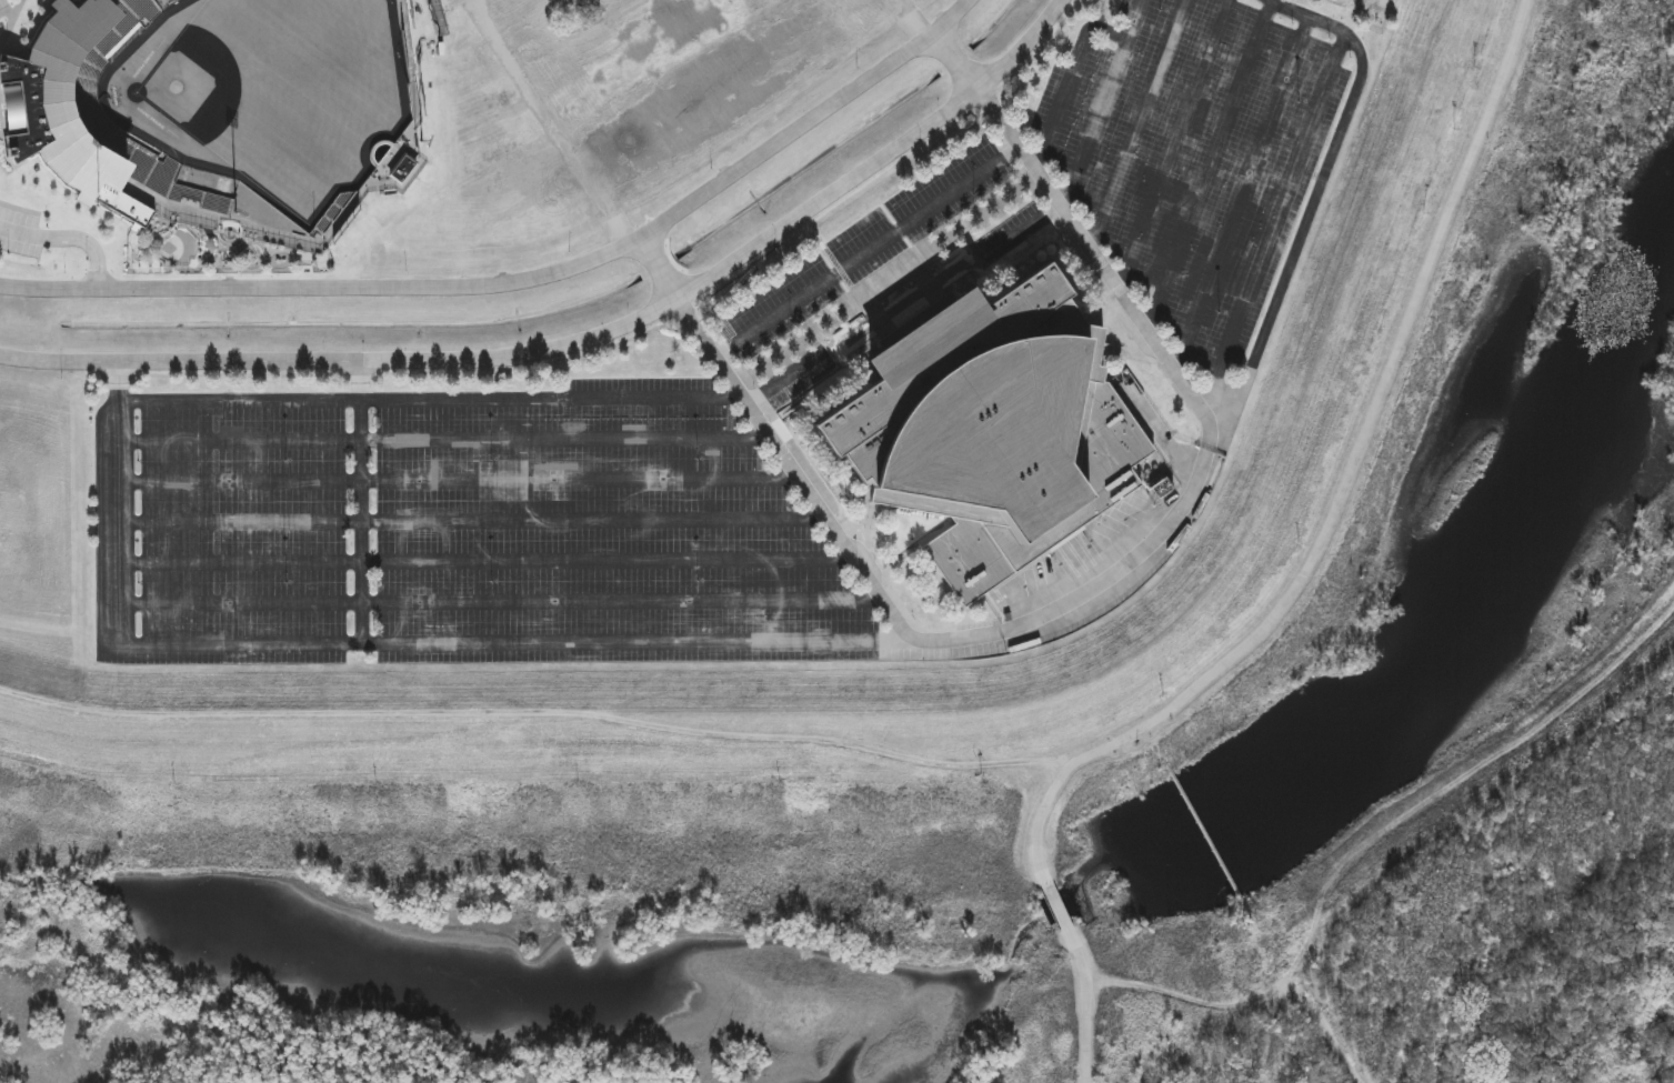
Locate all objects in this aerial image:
parking lot: (3, 3)
road: (911, 20)
road: (4, 37)
road: (1070, 81)
park: (194, 84)
building: (74, 96)
road: (1104, 103)
stadium: (220, 120)
road: (550, 122)
road: (1139, 123)
road: (1174, 143)
parking lot: (1199, 156)
road: (1210, 167)
road: (1243, 193)
road: (1277, 213)
parking lot: (20, 231)
road: (1020, 231)
road: (19, 232)
parking lot: (1010, 233)
road: (87, 242)
parking lot: (865, 248)
road: (870, 253)
road: (527, 278)
road: (587, 339)
road: (517, 369)
road: (239, 373)
road: (788, 377)
parking lot: (803, 383)
parking lot: (641, 384)
road: (1225, 394)
road: (431, 400)
parking lot: (558, 419)
parking lot: (283, 420)
parking lot: (177, 421)
building: (990, 431)
road: (565, 440)
road: (234, 441)
parking lot: (568, 459)
parking lot: (283, 460)
parking lot: (178, 461)
road: (579, 479)
road: (234, 481)
parking lot: (584, 500)
parking lot: (178, 502)
parking lot: (283, 502)
road: (361, 502)
road: (593, 521)
road: (235, 523)
parking lot: (599, 541)
parking lot: (178, 542)
parking lot: (283, 542)
road: (608, 561)
road: (235, 563)
parking lot: (283, 582)
parking lot: (615, 582)
road: (1299, 582)
parking lot: (178, 583)
road: (621, 601)
road: (237, 602)
road: (893, 614)
parking lot: (627, 622)
parking lot: (179, 623)
parking lot: (284, 623)
road: (372, 644)
parking lot: (689, 655)
parking lot: (221, 658)
road: (1389, 863)

